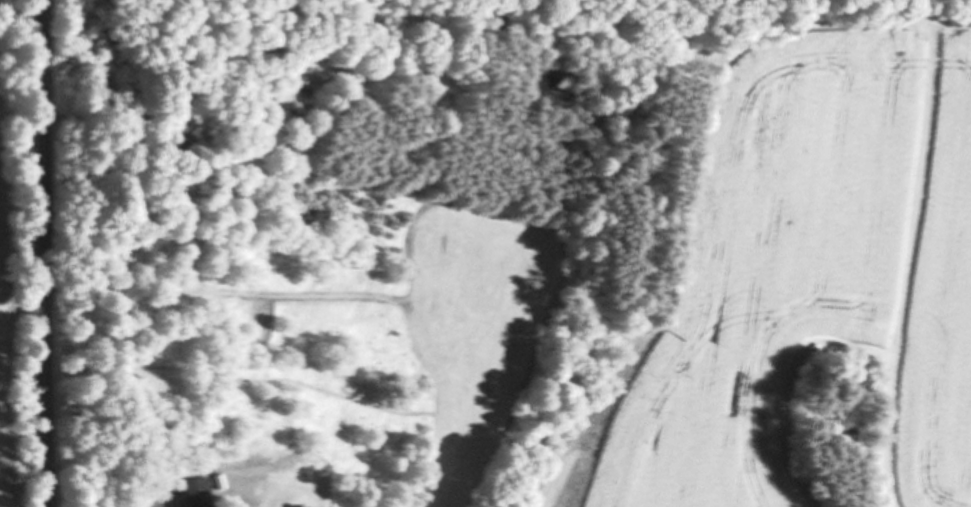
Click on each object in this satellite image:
road: (39, 253)
building: (196, 500)

